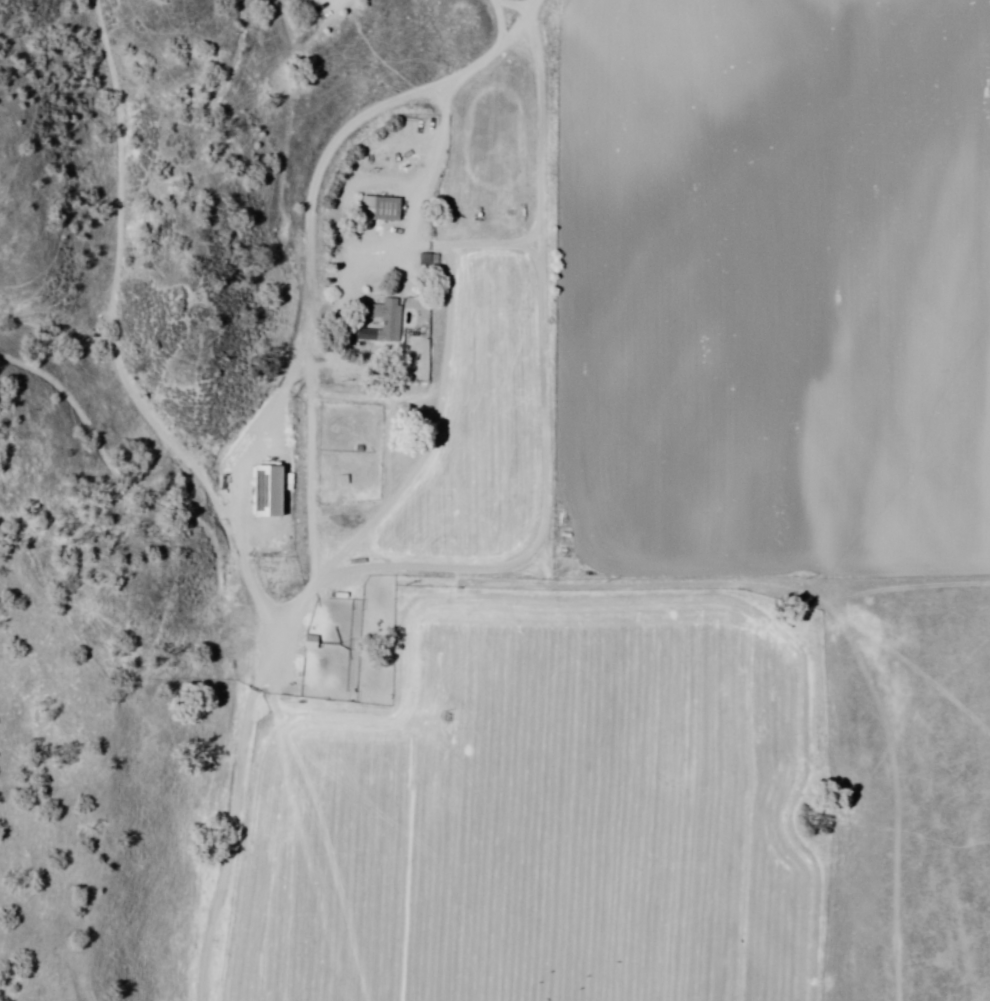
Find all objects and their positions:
building: (379, 209)
building: (383, 322)
road: (273, 467)
building: (264, 491)

